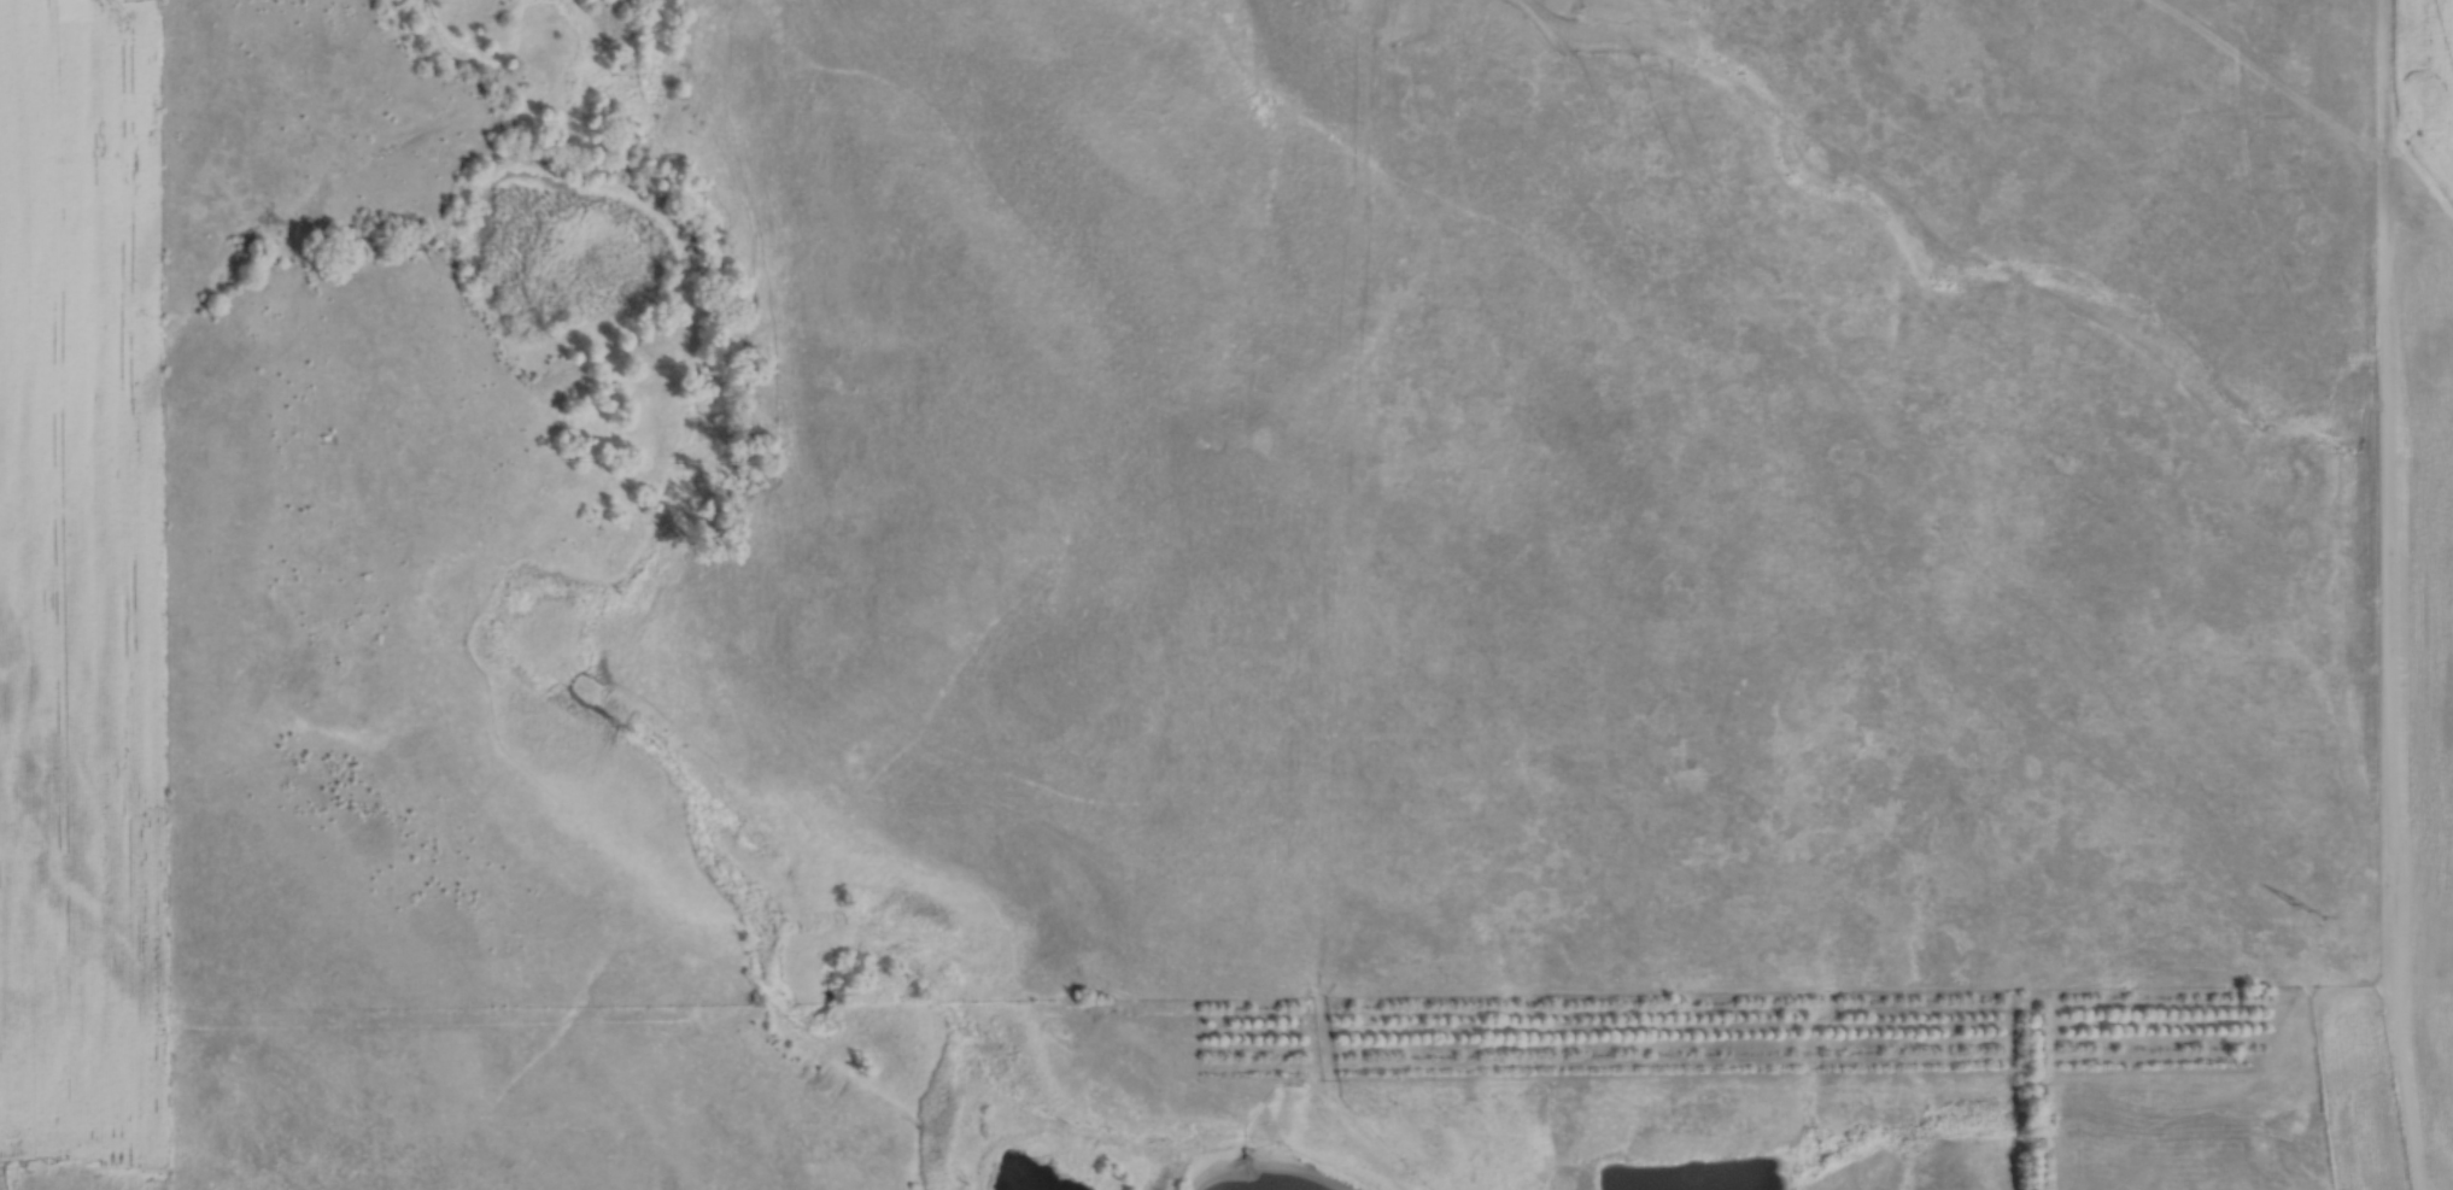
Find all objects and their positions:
power tower: (2299, 908)

